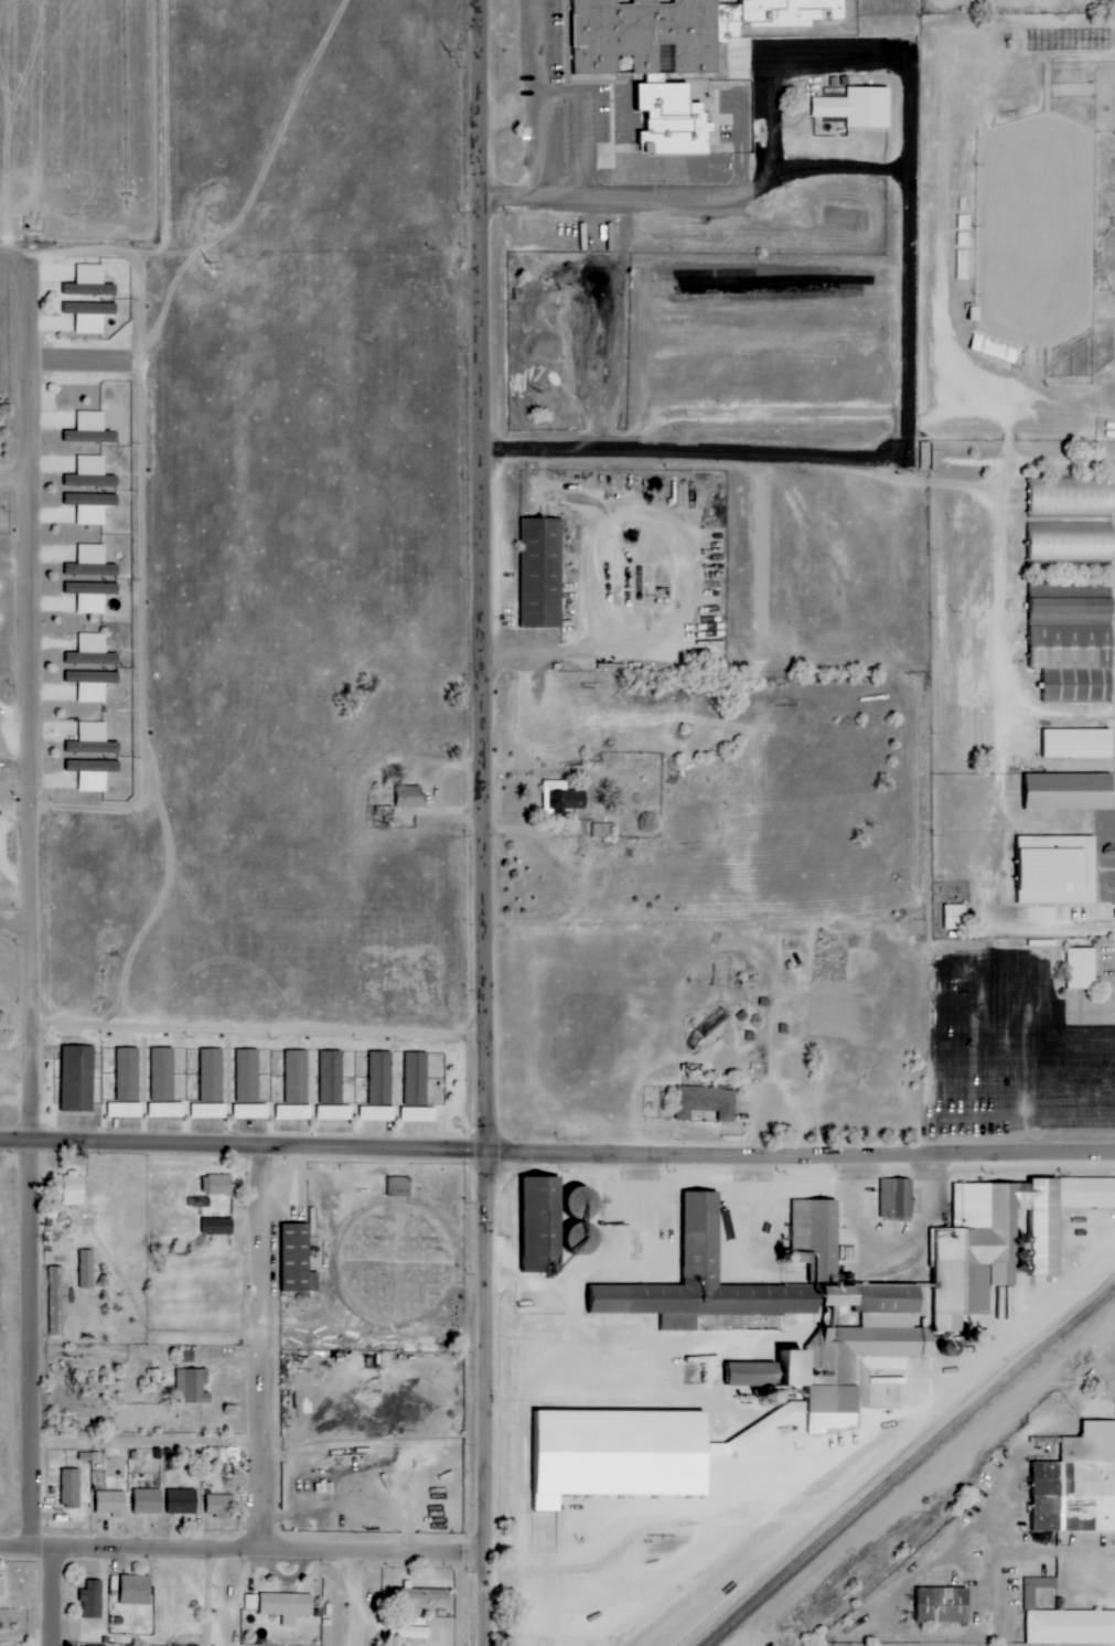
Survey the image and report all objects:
building: (677, 29)
power tower: (446, 52)
building: (857, 107)
building: (674, 119)
power tower: (206, 265)
building: (89, 282)
building: (89, 299)
road: (910, 307)
building: (89, 316)
road: (32, 338)
building: (90, 429)
building: (90, 473)
building: (1070, 496)
building: (90, 507)
building: (1069, 543)
building: (92, 563)
building: (542, 573)
building: (89, 579)
building: (92, 596)
building: (1069, 602)
building: (1071, 646)
building: (92, 651)
building: (1078, 684)
building: (92, 685)
building: (93, 740)
building: (1079, 744)
building: (93, 773)
building: (1070, 791)
building: (411, 798)
building: (561, 798)
road: (491, 823)
building: (1057, 870)
building: (955, 917)
road: (1052, 922)
road: (18, 927)
building: (1082, 969)
road: (1006, 973)
road: (32, 993)
road: (262, 1024)
building: (128, 1075)
building: (163, 1075)
building: (212, 1076)
building: (247, 1076)
building: (331, 1077)
building: (77, 1078)
building: (296, 1087)
building: (379, 1088)
building: (417, 1090)
building: (706, 1102)
building: (125, 1110)
building: (165, 1110)
building: (208, 1111)
building: (250, 1111)
building: (334, 1112)
road: (557, 1154)
road: (827, 1182)
building: (217, 1185)
building: (399, 1186)
building: (74, 1188)
building: (892, 1198)
building: (582, 1201)
building: (542, 1223)
building: (218, 1227)
building: (1000, 1239)
road: (887, 1244)
building: (297, 1259)
building: (86, 1269)
building: (56, 1301)
building: (792, 1307)
road: (261, 1349)
building: (187, 1357)
building: (754, 1375)
building: (193, 1386)
railway: (963, 1408)
road: (144, 1443)
road: (883, 1444)
building: (623, 1454)
railway: (909, 1465)
building: (71, 1488)
building: (1072, 1489)
building: (148, 1501)
building: (182, 1501)
building: (110, 1504)
building: (219, 1506)
road: (13, 1546)
road: (39, 1547)
road: (271, 1550)
railway: (753, 1589)
building: (136, 1590)
building: (430, 1594)
road: (50, 1596)
road: (206, 1597)
building: (92, 1600)
road: (357, 1600)
building: (250, 1602)
building: (940, 1604)
building: (287, 1606)
building: (1063, 1621)
building: (409, 1633)

